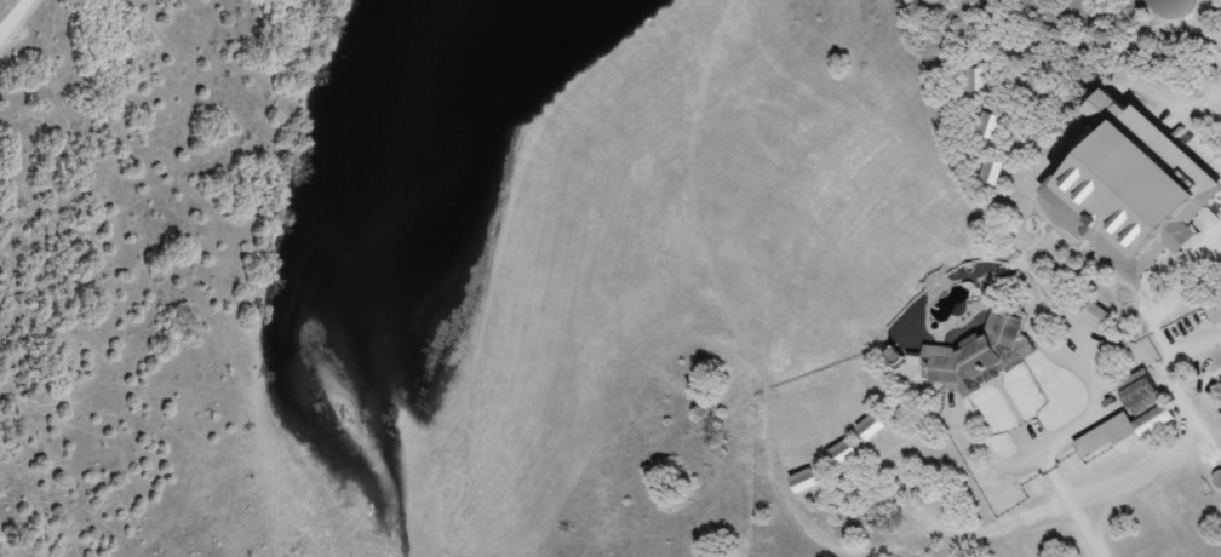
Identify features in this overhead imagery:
road: (11, 13)
building: (976, 352)
building: (1135, 391)

